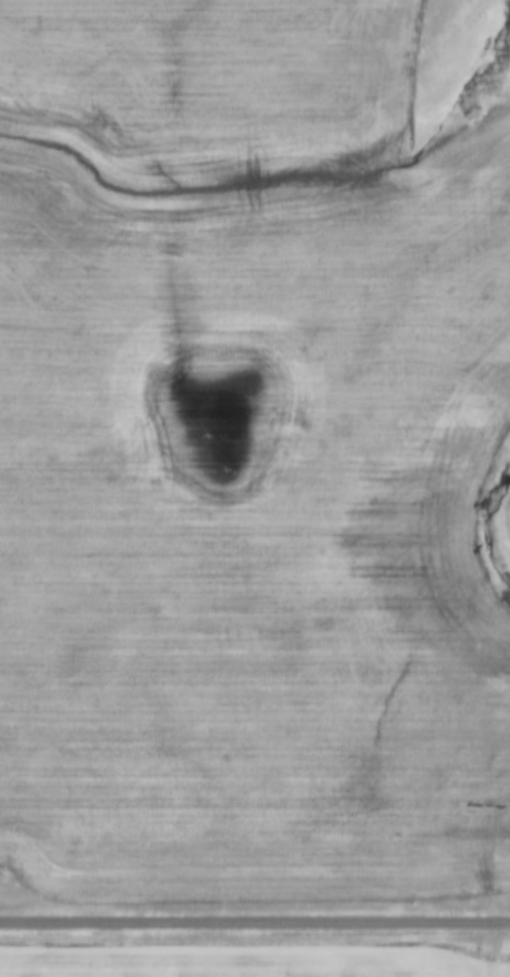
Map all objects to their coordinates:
road: (254, 921)

